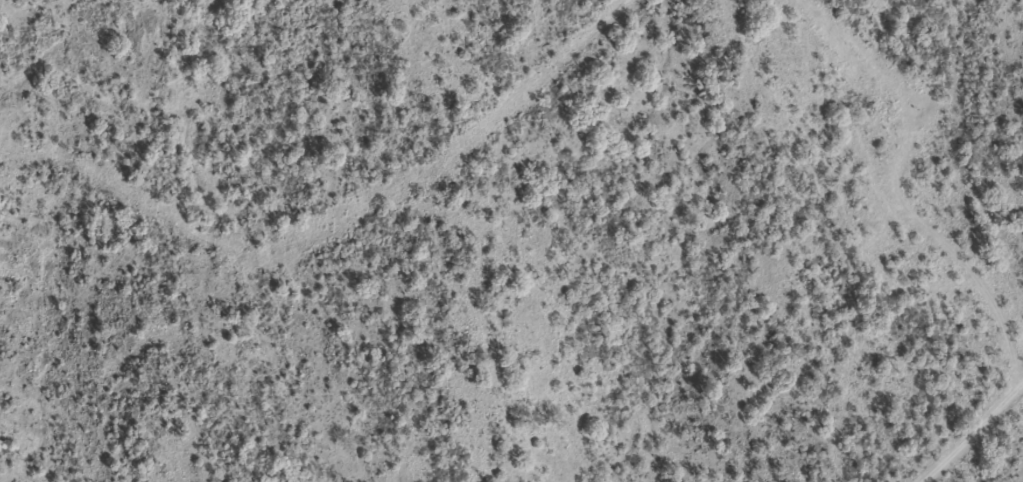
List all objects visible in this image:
road: (975, 431)

